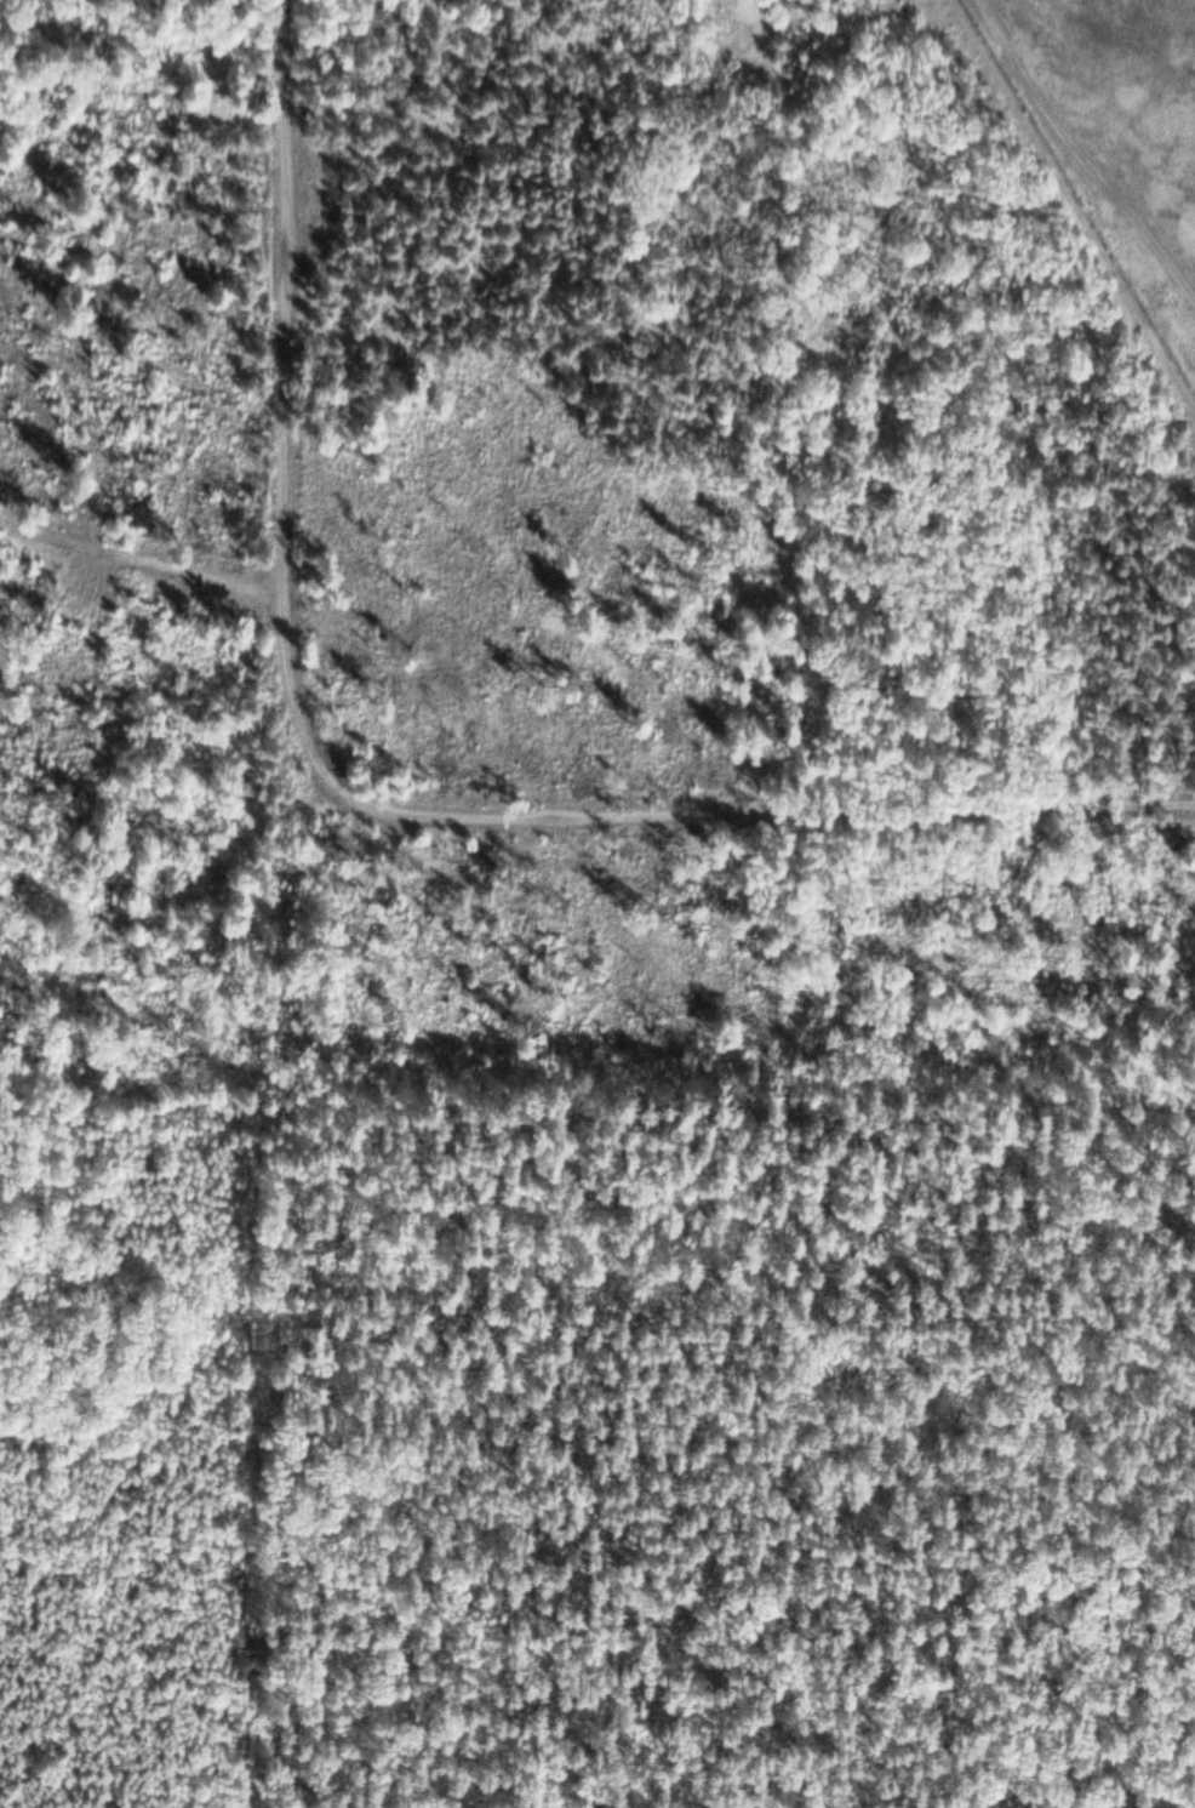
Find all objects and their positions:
airport: (1117, 130)
road: (291, 552)
road: (761, 806)
road: (760, 1080)

